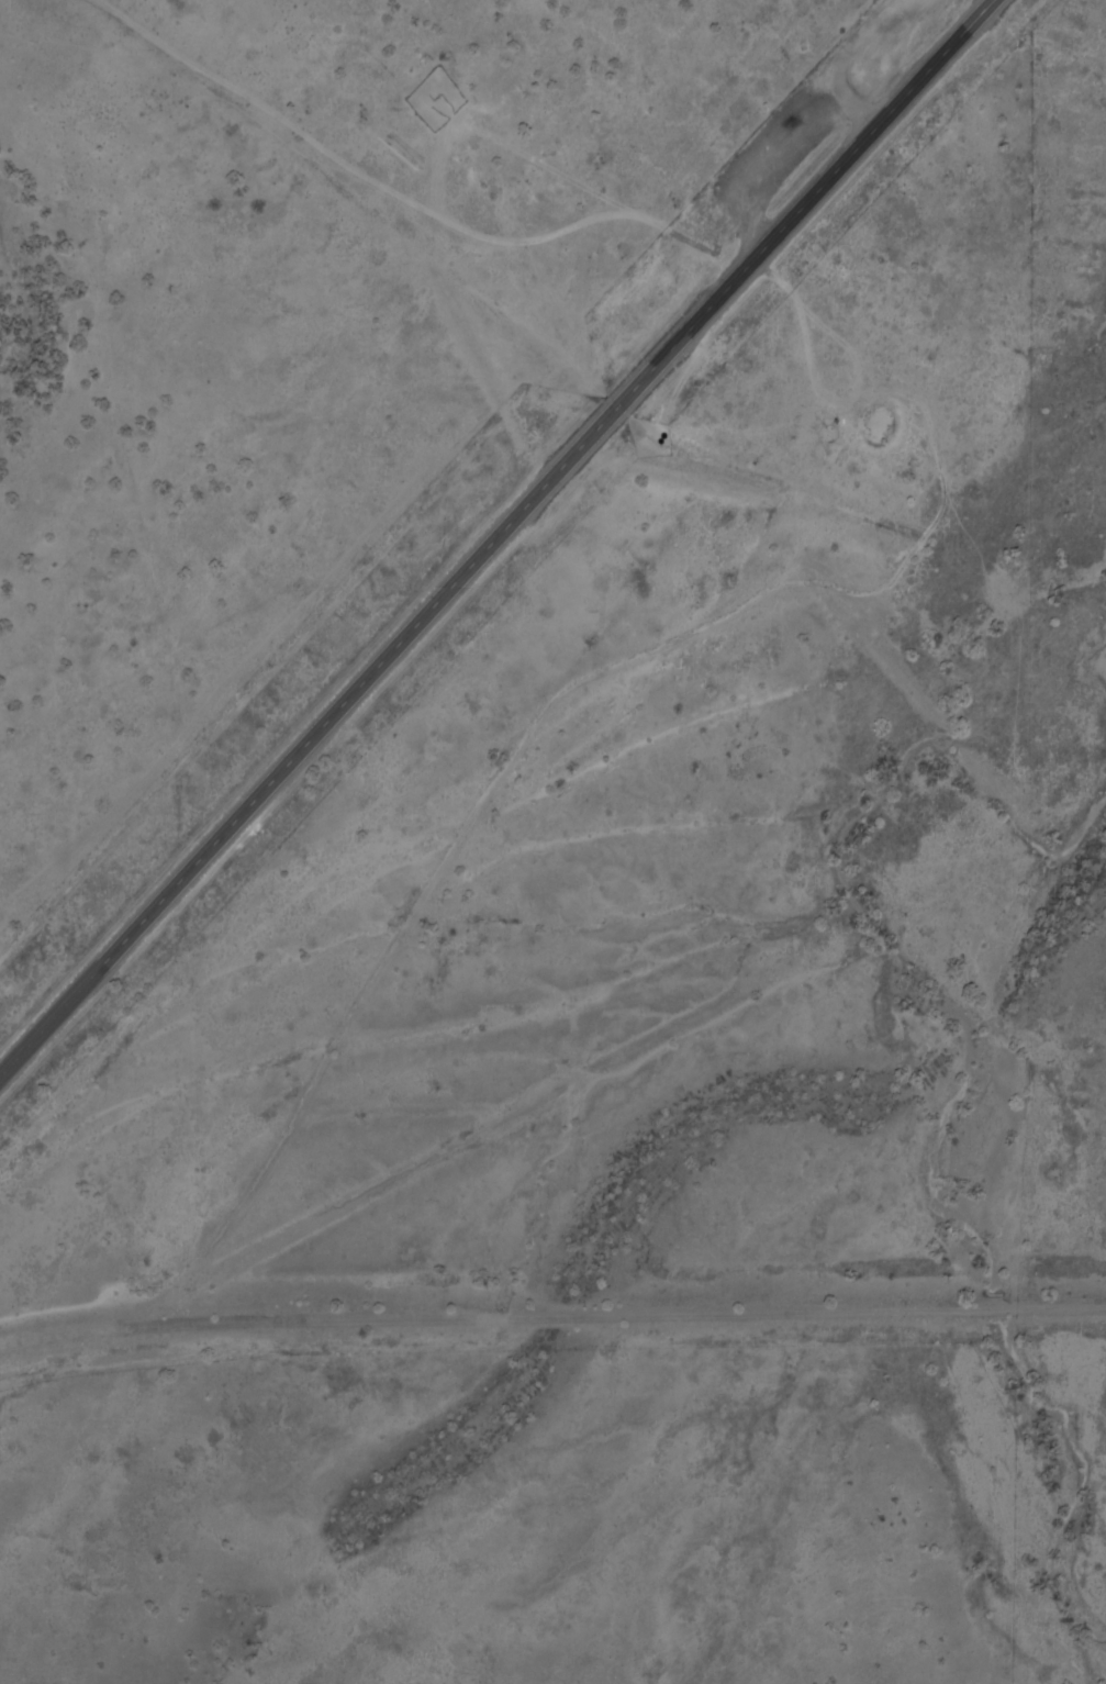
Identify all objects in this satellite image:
road: (401, 193)
road: (495, 536)
road: (618, 1320)

